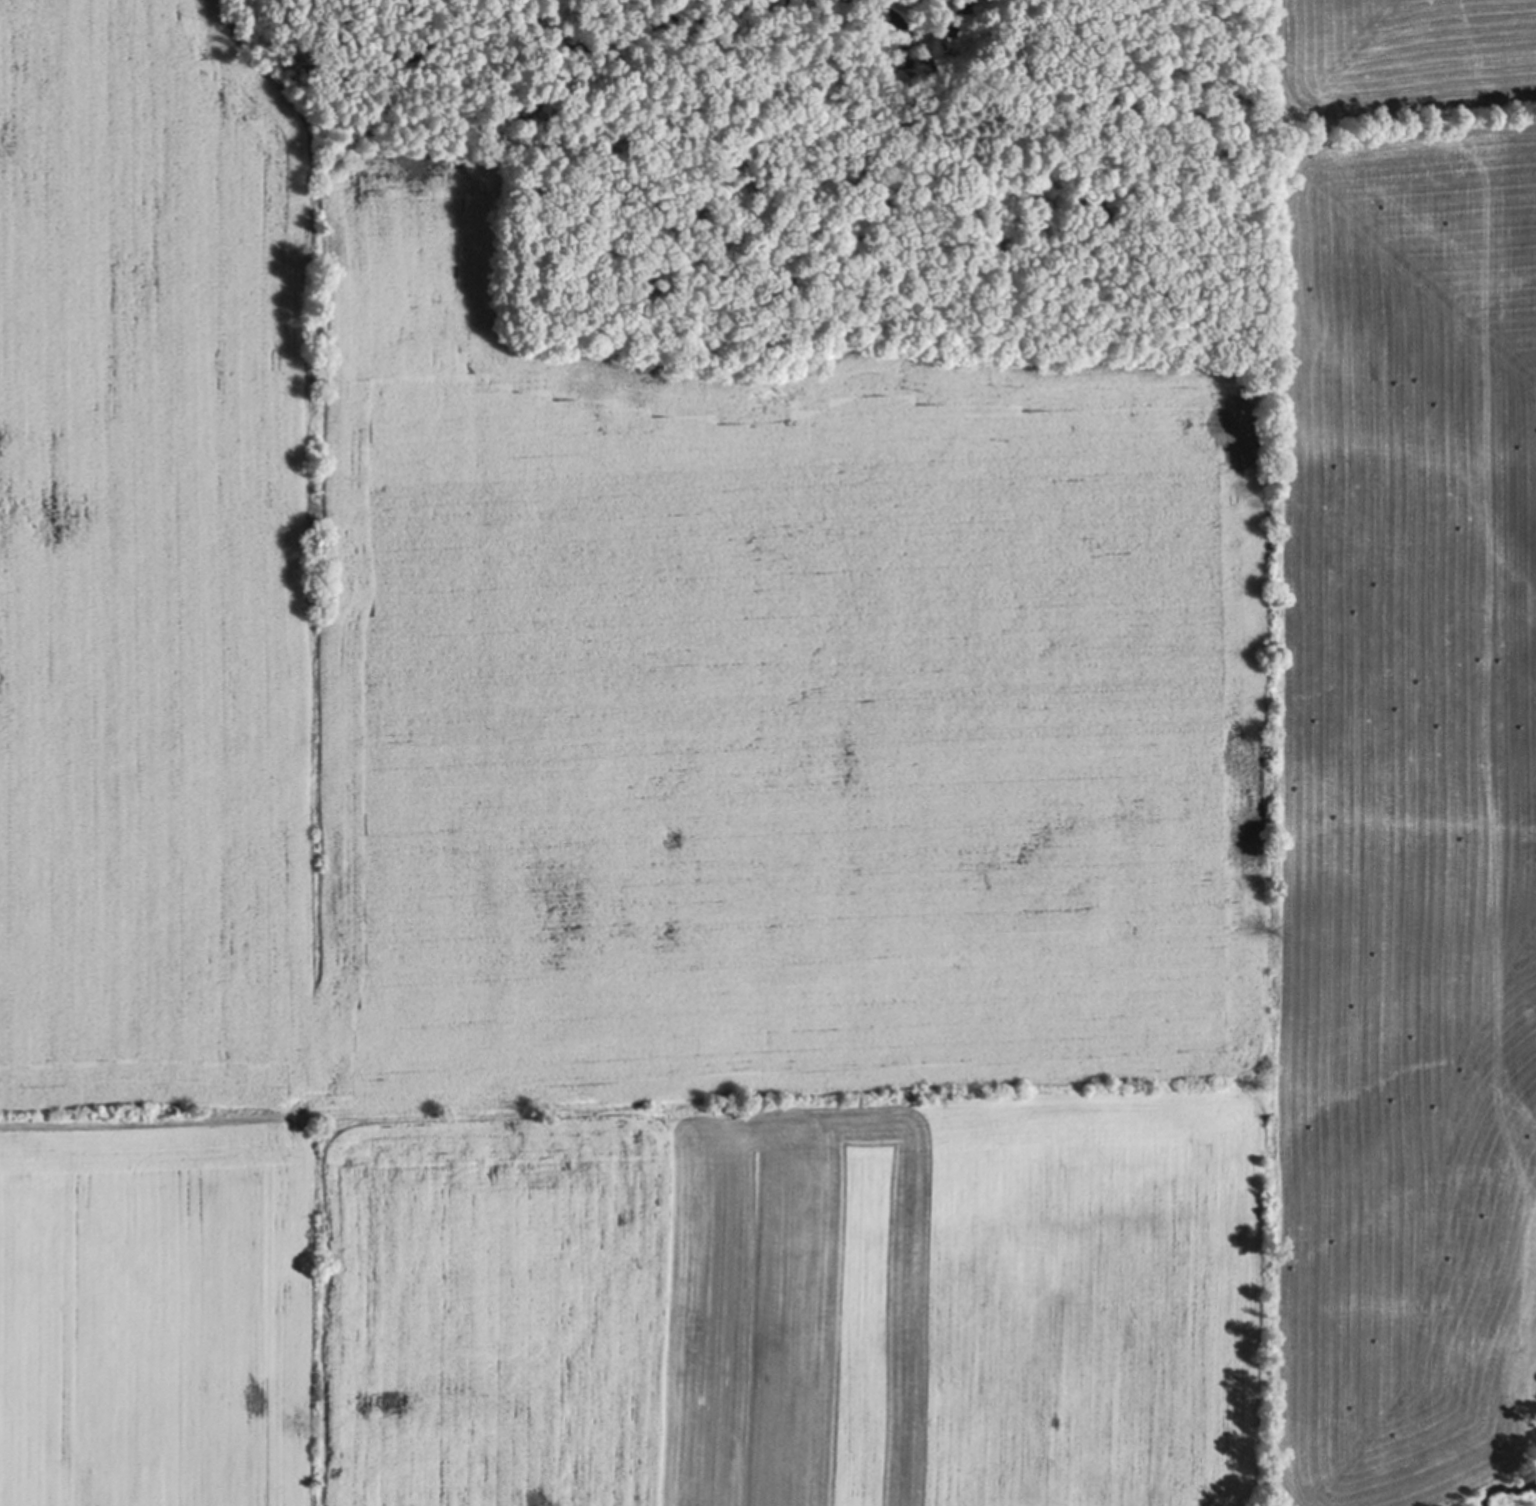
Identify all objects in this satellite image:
river: (602, 44)

